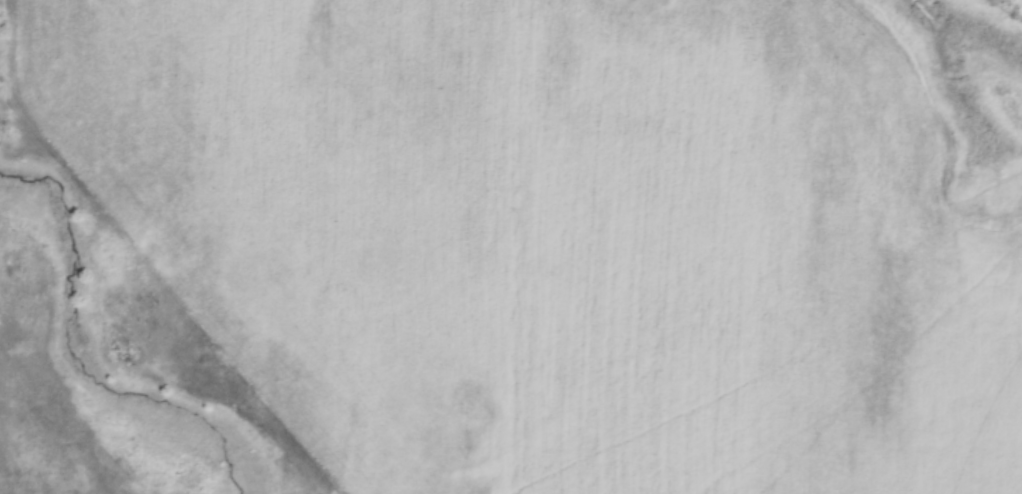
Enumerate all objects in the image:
crop: (549, 236)

